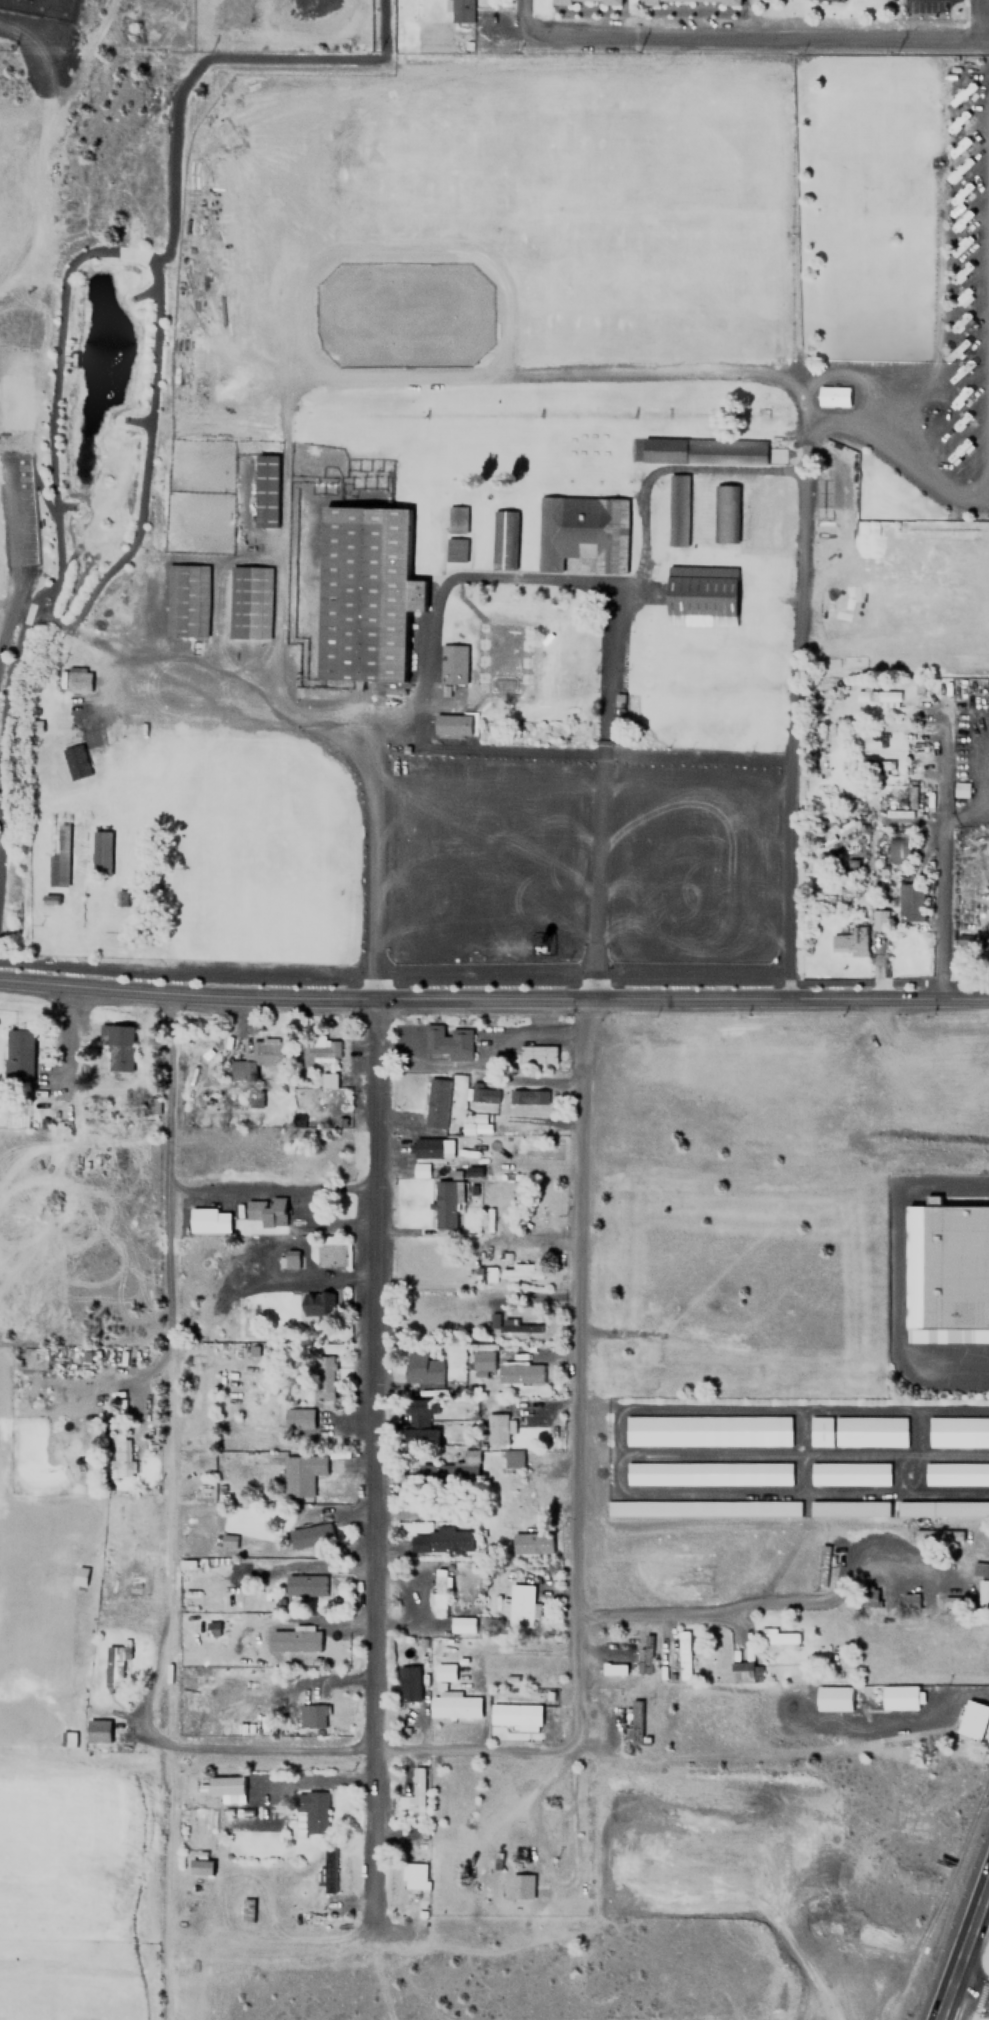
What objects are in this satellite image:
building: (576, 0)
building: (840, 0)
building: (685, 1)
power substation: (41, 8)
building: (459, 10)
road: (980, 18)
road: (766, 37)
road: (180, 43)
building: (832, 396)
building: (702, 451)
building: (264, 491)
building: (676, 511)
building: (772, 512)
building: (724, 514)
building: (454, 519)
building: (580, 532)
building: (500, 539)
building: (456, 550)
building: (364, 593)
building: (699, 595)
building: (185, 601)
building: (248, 602)
road: (24, 613)
building: (451, 663)
building: (77, 681)
building: (876, 696)
building: (453, 725)
building: (879, 737)
building: (159, 752)
building: (73, 761)
building: (871, 765)
building: (962, 790)
building: (898, 849)
road: (947, 851)
building: (99, 853)
building: (910, 902)
building: (879, 920)
building: (848, 940)
road: (494, 1001)
building: (446, 1042)
building: (117, 1046)
building: (319, 1050)
building: (536, 1054)
building: (18, 1055)
building: (254, 1056)
building: (328, 1080)
building: (483, 1093)
building: (527, 1096)
building: (436, 1102)
building: (154, 1105)
road: (270, 1188)
building: (445, 1204)
building: (265, 1211)
building: (209, 1220)
building: (329, 1254)
building: (289, 1258)
building: (519, 1271)
building: (946, 1272)
building: (314, 1307)
building: (518, 1325)
building: (482, 1362)
road: (167, 1367)
building: (421, 1369)
building: (519, 1373)
road: (574, 1373)
building: (322, 1377)
building: (299, 1419)
building: (420, 1422)
building: (496, 1428)
building: (706, 1430)
building: (857, 1431)
building: (958, 1431)
building: (122, 1456)
building: (512, 1458)
road: (376, 1463)
building: (450, 1470)
building: (707, 1473)
building: (849, 1473)
building: (956, 1473)
building: (301, 1474)
building: (848, 1507)
building: (700, 1508)
building: (942, 1508)
building: (309, 1534)
building: (937, 1534)
building: (229, 1540)
building: (440, 1541)
building: (530, 1542)
building: (821, 1564)
building: (979, 1569)
road: (774, 1573)
building: (80, 1575)
building: (305, 1585)
building: (438, 1592)
building: (984, 1596)
building: (867, 1598)
building: (908, 1599)
building: (952, 1602)
building: (519, 1603)
building: (463, 1624)
building: (212, 1629)
building: (294, 1638)
building: (777, 1639)
building: (643, 1654)
building: (683, 1654)
building: (113, 1665)
building: (744, 1671)
building: (444, 1672)
building: (408, 1683)
building: (899, 1696)
building: (833, 1697)
building: (453, 1705)
building: (313, 1715)
building: (516, 1715)
building: (972, 1718)
building: (633, 1722)
building: (97, 1730)
building: (68, 1738)
road: (374, 1746)
building: (224, 1785)
building: (417, 1790)
building: (311, 1812)
building: (200, 1866)
building: (328, 1867)
building: (415, 1875)
building: (520, 1886)
building: (246, 1909)
road: (966, 1959)
road: (973, 1988)

